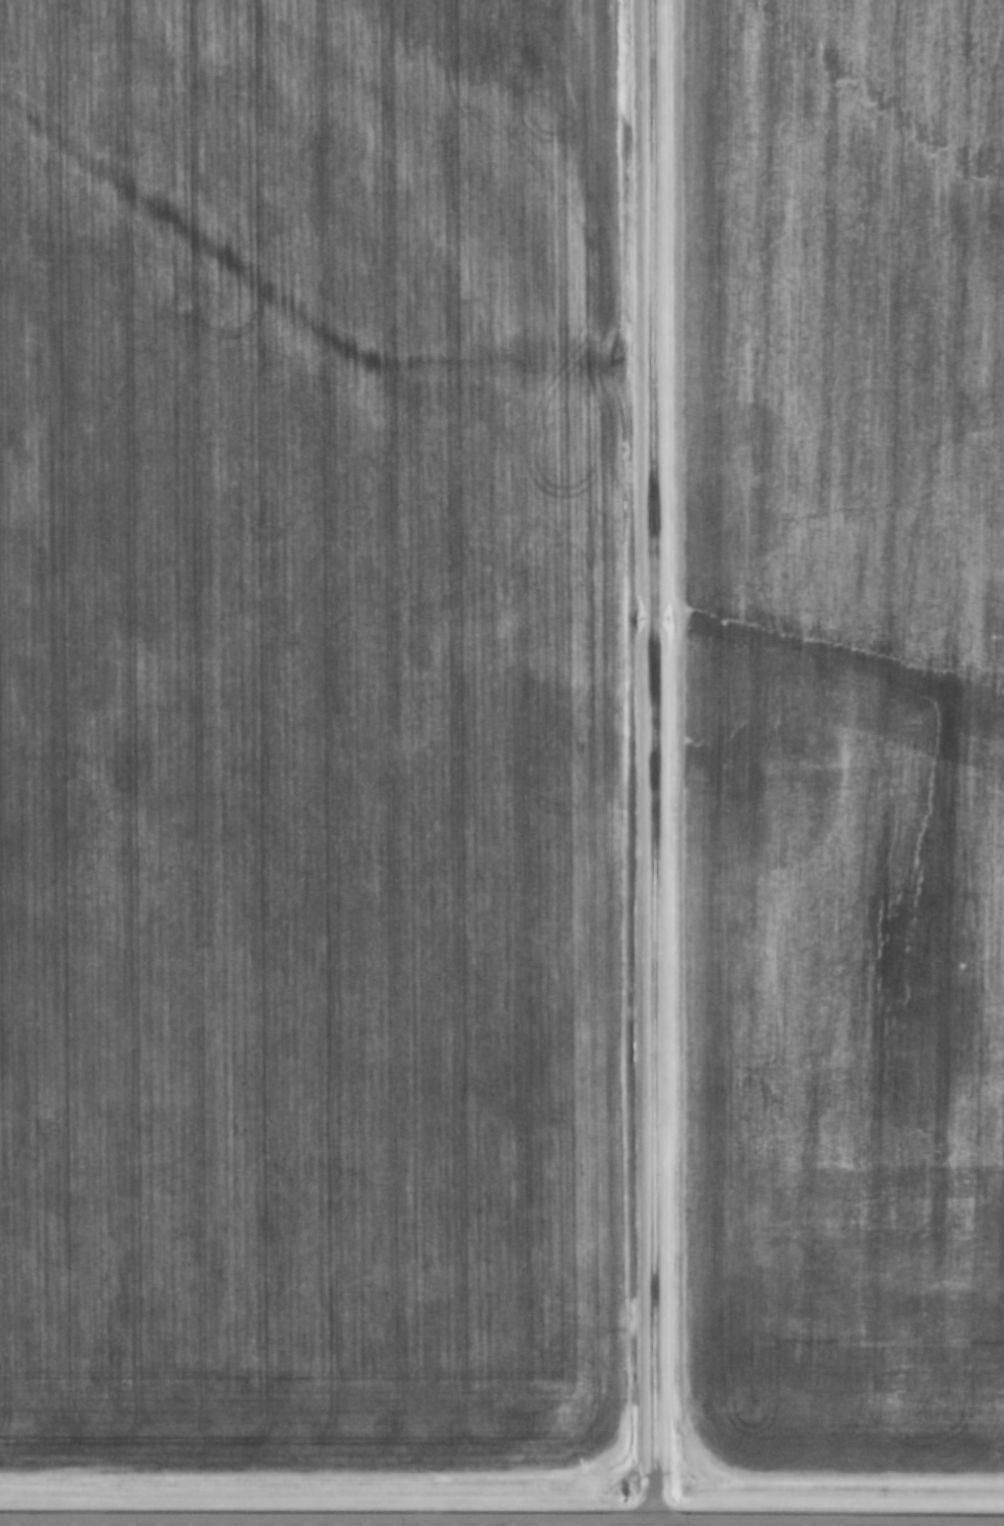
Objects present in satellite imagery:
road: (652, 762)
road: (480, 1523)
road: (650, 1525)

